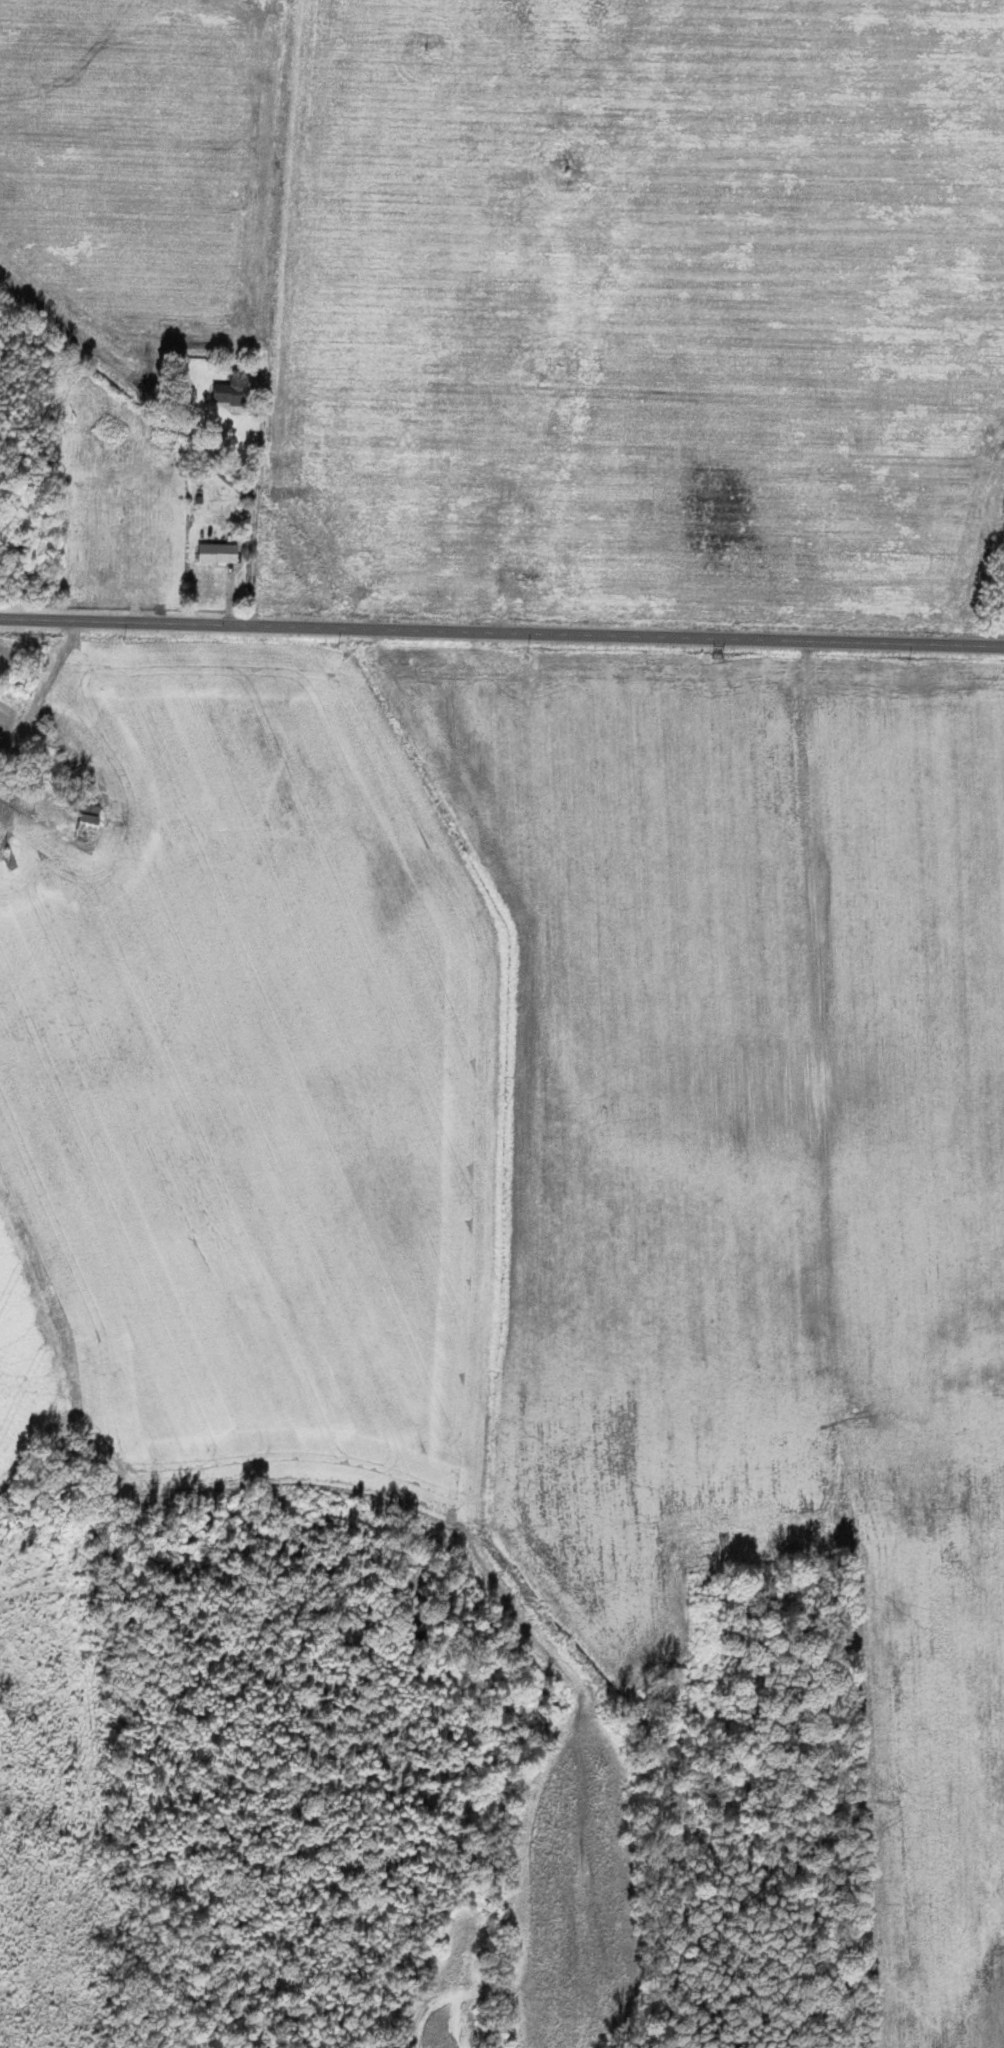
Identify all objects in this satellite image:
building: (234, 388)
building: (220, 552)
road: (502, 631)

